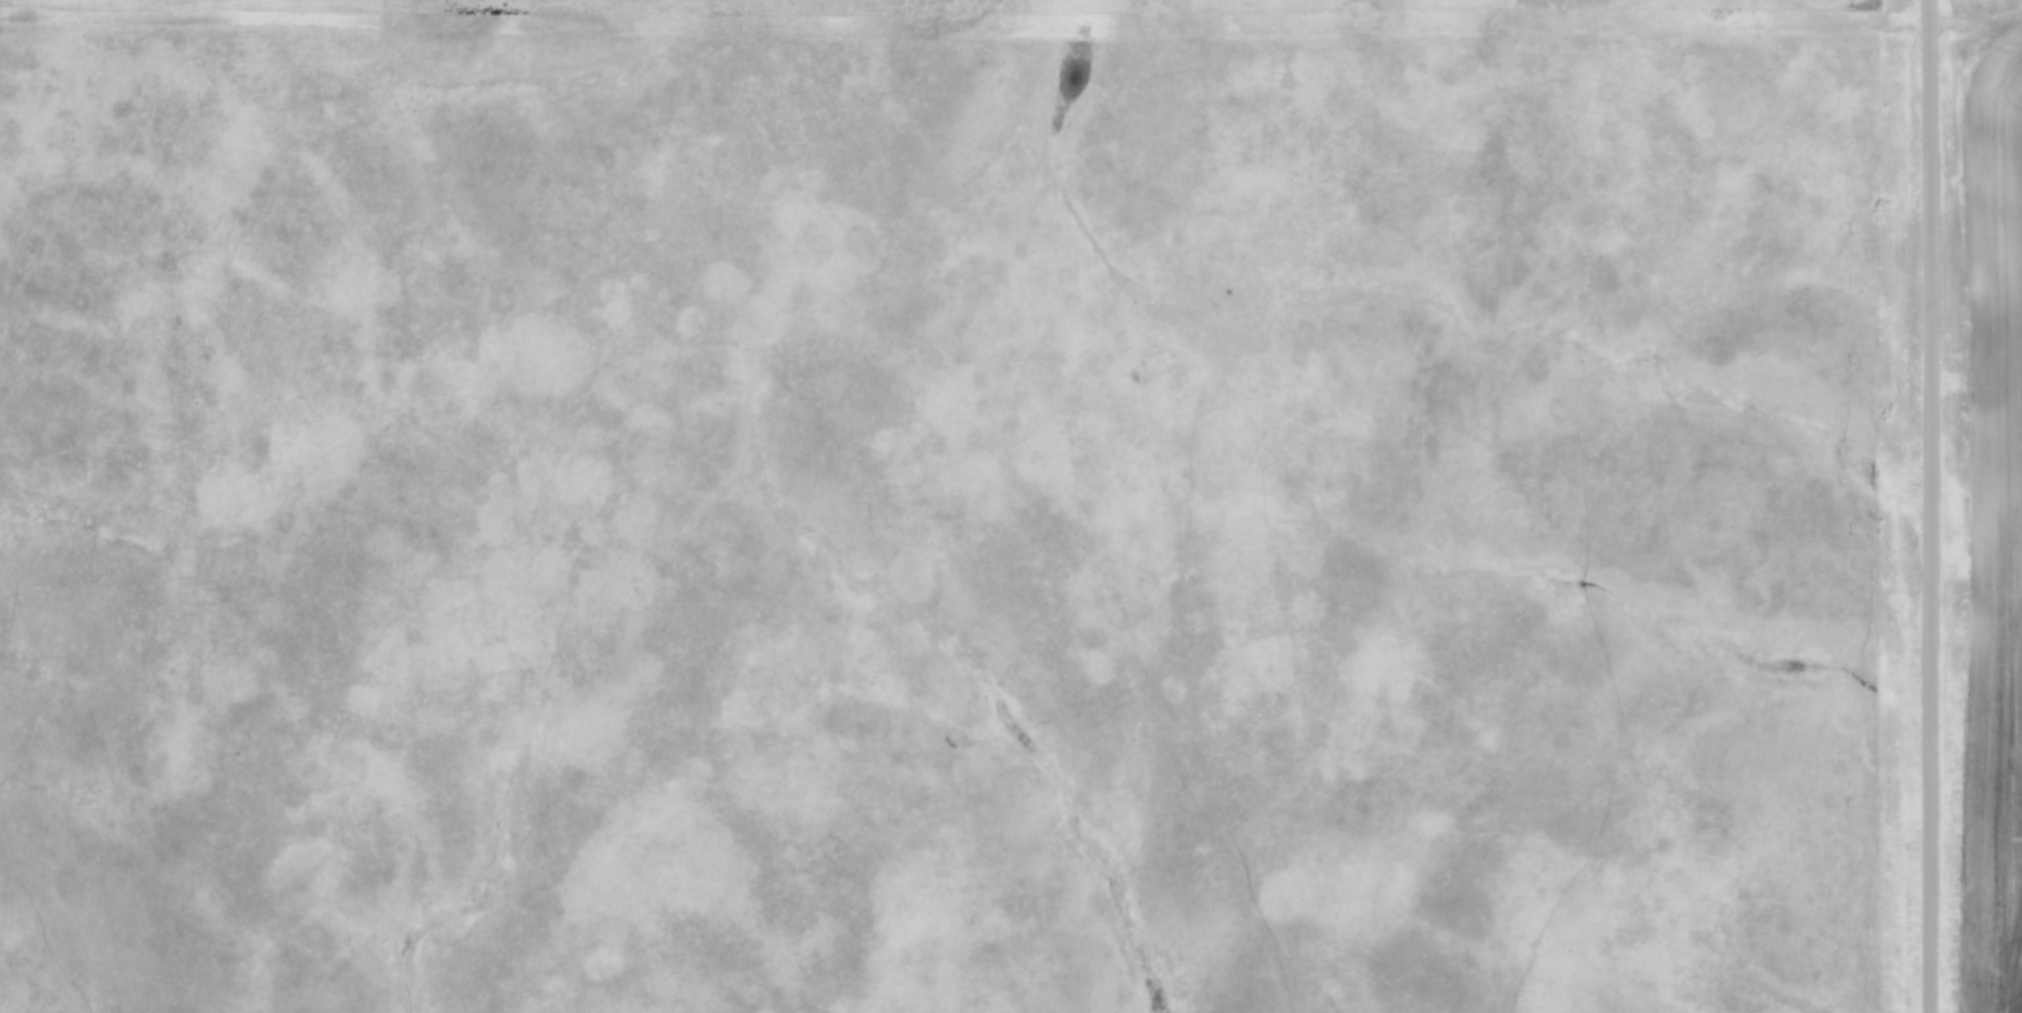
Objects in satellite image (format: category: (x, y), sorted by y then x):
road: (1928, 506)

